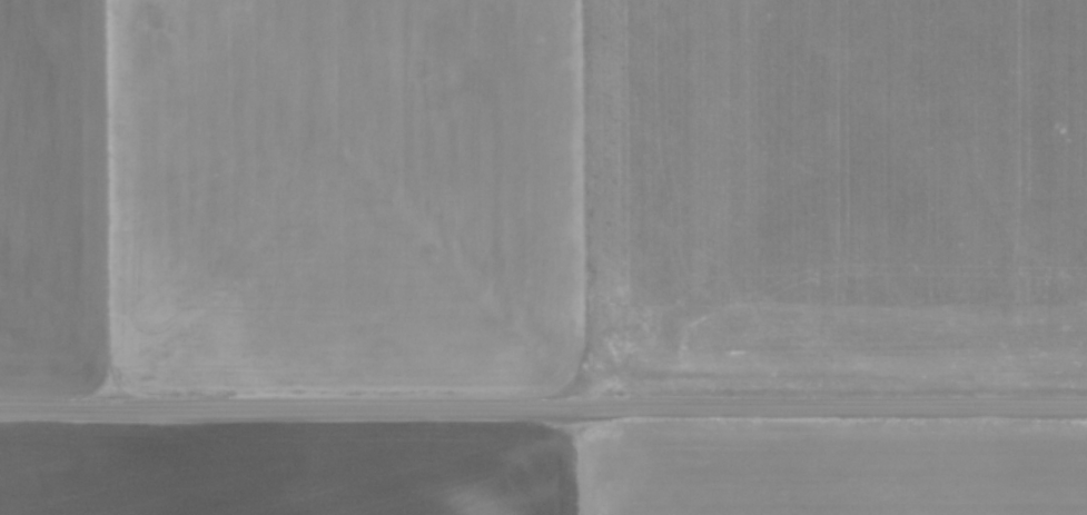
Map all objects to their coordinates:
crop: (543, 195)
road: (543, 408)
crop: (540, 471)

